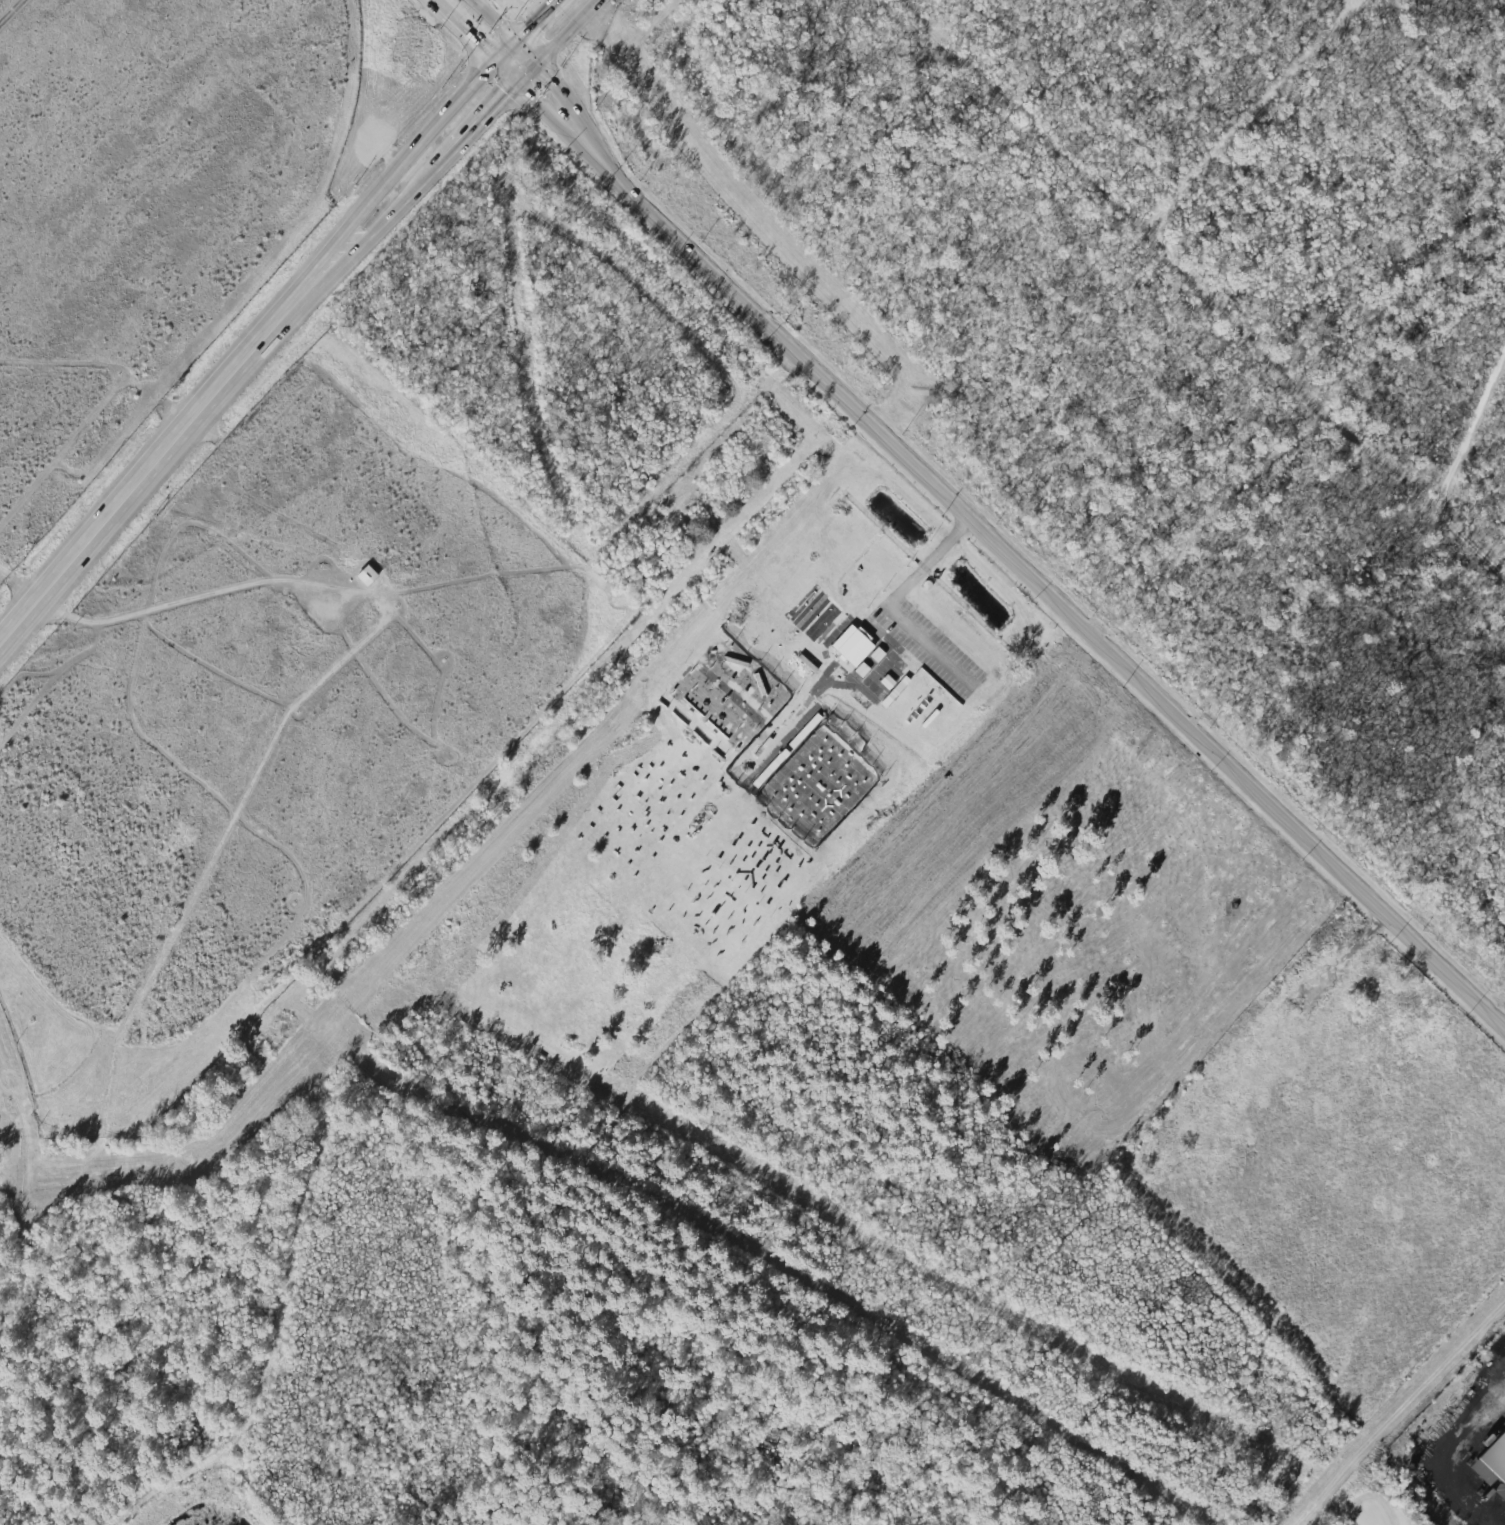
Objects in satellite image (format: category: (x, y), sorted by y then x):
road: (432, 9)
road: (10, 10)
road: (505, 17)
road: (539, 17)
road: (468, 43)
road: (556, 43)
road: (535, 45)
road: (509, 51)
road: (566, 77)
road: (506, 78)
road: (480, 127)
road: (563, 128)
road: (597, 134)
road: (1187, 191)
road: (1249, 306)
road: (245, 347)
road: (218, 407)
road: (1474, 438)
road: (1474, 539)
building: (366, 576)
road: (204, 595)
road: (1056, 597)
building: (852, 645)
road: (1396, 1413)
park: (1357, 1467)
building: (1492, 1468)
road: (1452, 1469)

